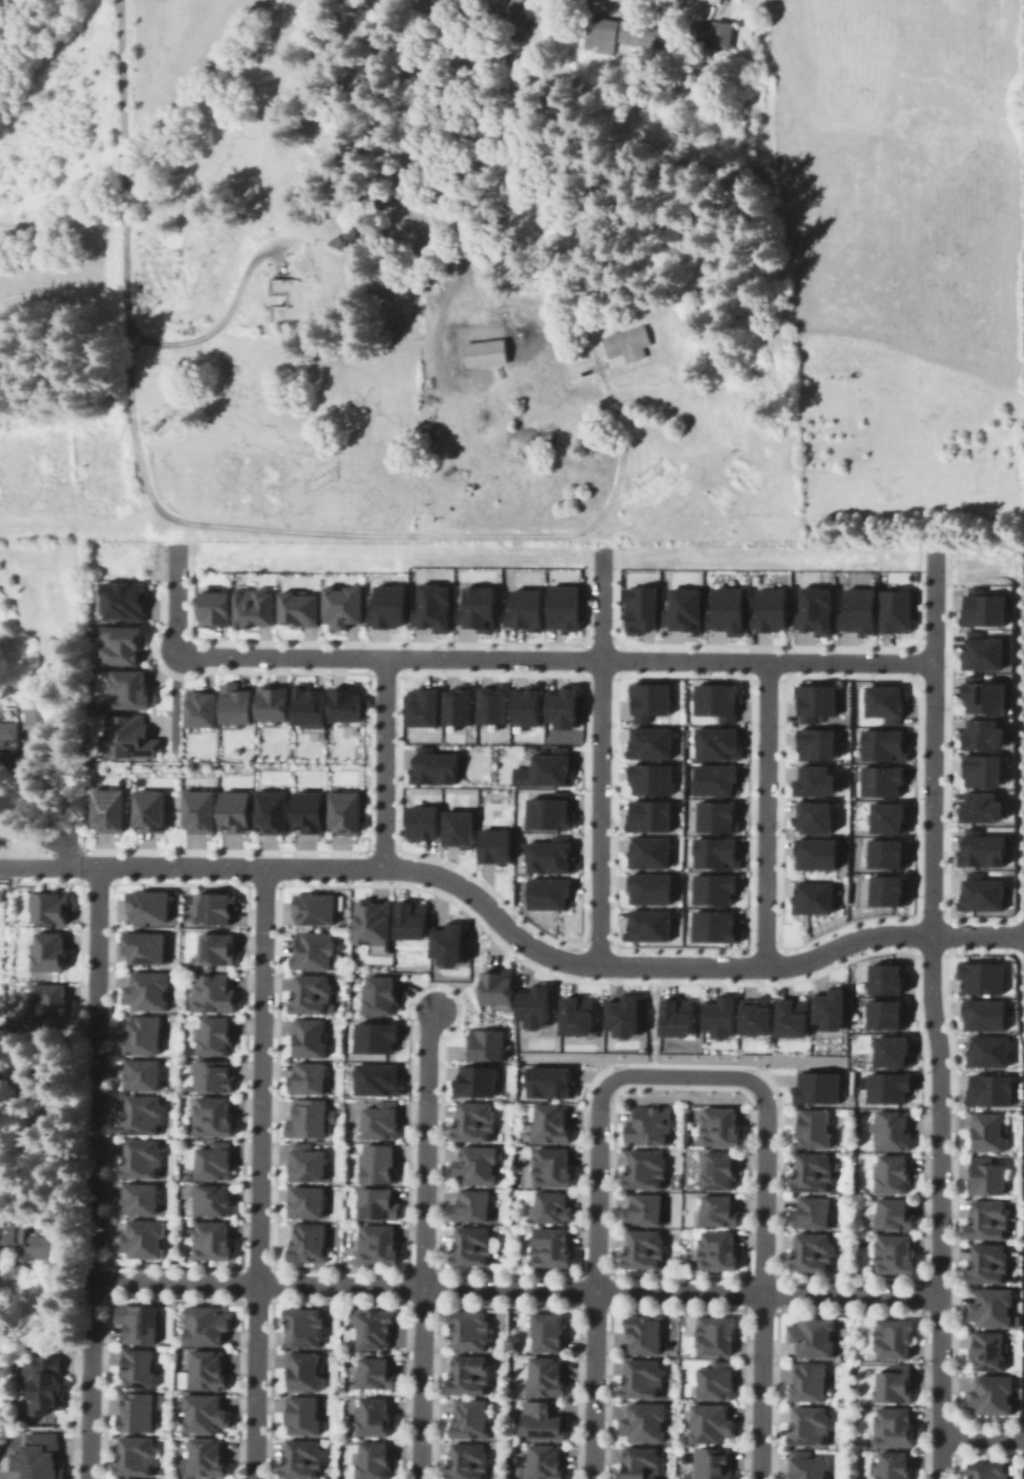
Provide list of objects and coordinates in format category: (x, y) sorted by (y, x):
building: (612, 1)
building: (710, 37)
building: (597, 38)
building: (639, 38)
road: (122, 165)
building: (290, 298)
building: (627, 345)
building: (481, 355)
building: (155, 427)
road: (264, 529)
park: (376, 554)
park: (766, 556)
park: (116, 558)
park: (979, 566)
road: (176, 598)
building: (126, 599)
building: (338, 605)
building: (383, 605)
building: (560, 606)
building: (979, 606)
building: (208, 607)
building: (249, 607)
building: (294, 607)
building: (429, 607)
building: (640, 607)
building: (474, 608)
building: (680, 608)
building: (722, 608)
building: (767, 608)
building: (891, 608)
building: (521, 609)
building: (810, 609)
building: (855, 609)
building: (126, 642)
building: (977, 650)
road: (557, 657)
building: (131, 689)
building: (982, 695)
building: (648, 698)
building: (714, 699)
building: (810, 699)
building: (883, 700)
building: (277, 701)
building: (349, 702)
building: (240, 703)
building: (488, 703)
building: (452, 705)
building: (522, 705)
building: (417, 706)
building: (312, 707)
building: (557, 707)
building: (202, 708)
building: (35, 712)
building: (9, 733)
building: (980, 733)
building: (130, 736)
building: (647, 742)
building: (811, 742)
road: (933, 742)
building: (712, 743)
building: (880, 744)
road: (602, 756)
road: (381, 761)
building: (429, 766)
building: (543, 769)
building: (978, 769)
building: (649, 779)
building: (711, 779)
building: (810, 780)
building: (878, 780)
building: (275, 807)
building: (977, 807)
building: (311, 808)
building: (111, 809)
building: (152, 809)
building: (237, 809)
building: (202, 810)
building: (348, 811)
building: (546, 812)
road: (766, 813)
building: (649, 816)
building: (712, 816)
building: (809, 816)
building: (884, 816)
building: (425, 823)
building: (459, 827)
building: (497, 845)
building: (978, 848)
building: (646, 852)
building: (713, 852)
building: (812, 852)
building: (883, 853)
building: (548, 856)
road: (9, 864)
road: (52, 864)
building: (645, 888)
building: (710, 888)
building: (884, 890)
building: (544, 893)
building: (978, 893)
building: (6, 895)
building: (810, 897)
building: (148, 904)
building: (49, 906)
building: (217, 907)
building: (317, 907)
building: (418, 919)
building: (378, 921)
building: (644, 924)
building: (711, 926)
building: (455, 944)
building: (143, 946)
building: (220, 948)
building: (316, 949)
road: (95, 950)
building: (48, 951)
road: (543, 954)
road: (476, 961)
building: (882, 978)
building: (983, 978)
building: (498, 986)
building: (150, 989)
building: (215, 991)
building: (383, 993)
building: (314, 994)
building: (44, 1002)
building: (536, 1006)
building: (830, 1011)
building: (981, 1014)
building: (580, 1015)
building: (881, 1015)
building: (673, 1016)
building: (756, 1017)
building: (624, 1018)
building: (721, 1018)
building: (793, 1019)
road: (654, 1020)
building: (146, 1033)
building: (216, 1035)
building: (311, 1037)
building: (382, 1037)
building: (488, 1043)
building: (888, 1051)
building: (984, 1051)
building: (146, 1073)
building: (216, 1075)
building: (310, 1078)
building: (383, 1079)
building: (477, 1079)
building: (547, 1082)
building: (884, 1087)
building: (819, 1088)
building: (986, 1090)
building: (147, 1114)
building: (219, 1115)
building: (311, 1118)
building: (383, 1119)
building: (550, 1123)
building: (473, 1124)
building: (650, 1127)
building: (720, 1127)
building: (890, 1129)
building: (815, 1130)
building: (987, 1132)
building: (147, 1158)
building: (217, 1159)
building: (309, 1162)
building: (381, 1162)
building: (476, 1168)
building: (551, 1169)
building: (720, 1171)
road: (258, 1172)
building: (645, 1172)
building: (890, 1173)
building: (816, 1174)
building: (983, 1177)
road: (92, 1187)
building: (144, 1197)
building: (216, 1199)
building: (308, 1202)
building: (381, 1203)
road: (939, 1206)
building: (472, 1208)
building: (552, 1209)
building: (720, 1209)
building: (646, 1210)
building: (812, 1212)
building: (894, 1213)
building: (988, 1221)
building: (21, 1237)
building: (144, 1238)
building: (216, 1241)
road: (423, 1242)
road: (597, 1242)
road: (765, 1242)
building: (307, 1244)
building: (376, 1244)
building: (472, 1248)
building: (550, 1250)
building: (718, 1251)
building: (645, 1252)
building: (811, 1254)
building: (893, 1255)
building: (987, 1266)
road: (515, 1288)
building: (993, 1310)
building: (140, 1321)
building: (373, 1330)
building: (203, 1331)
building: (302, 1331)
building: (470, 1332)
building: (550, 1334)
building: (645, 1336)
building: (717, 1338)
building: (814, 1339)
building: (896, 1341)
road: (45, 1347)
building: (987, 1351)
building: (142, 1368)
building: (205, 1375)
building: (468, 1375)
building: (376, 1376)
building: (304, 1378)
building: (640, 1378)
building: (546, 1380)
building: (712, 1381)
building: (807, 1381)
building: (47, 1382)
building: (892, 1383)
building: (994, 1396)
road: (88, 1409)
building: (138, 1412)
building: (203, 1418)
building: (372, 1419)
building: (469, 1419)
building: (303, 1420)
building: (641, 1423)
building: (542, 1424)
building: (707, 1424)
building: (805, 1425)
building: (892, 1426)
road: (982, 1437)
building: (35, 1456)
building: (138, 1456)
building: (204, 1461)
building: (302, 1462)
building: (374, 1462)
building: (638, 1463)
building: (468, 1464)
building: (544, 1464)
building: (710, 1464)
building: (805, 1466)
building: (893, 1468)
building: (987, 1471)

